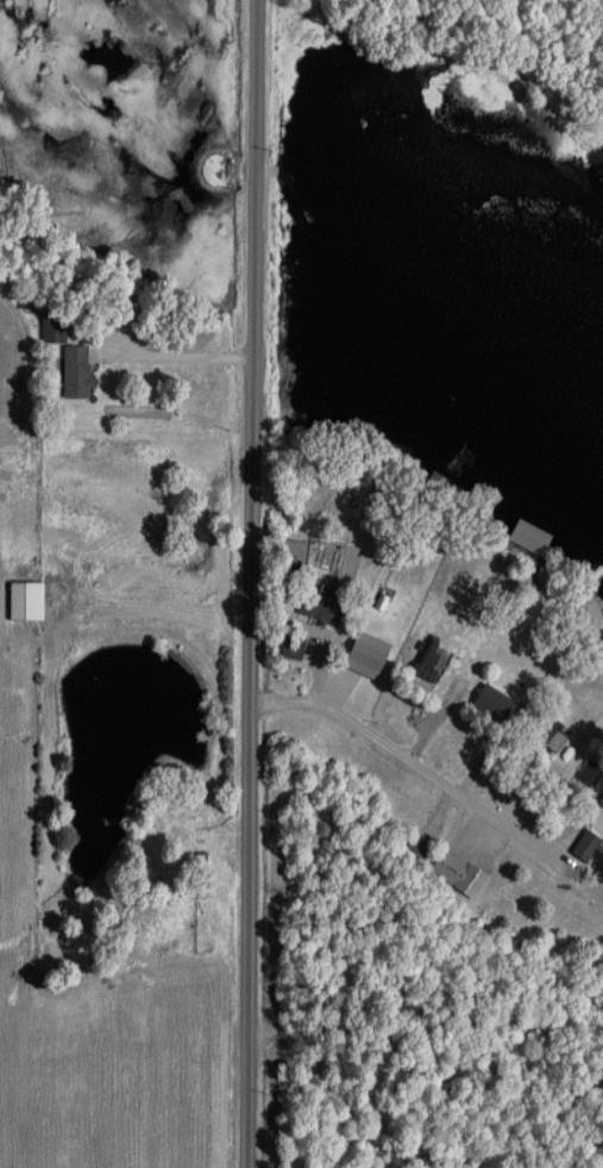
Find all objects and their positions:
road: (175, 362)
building: (73, 371)
road: (251, 584)
building: (21, 601)
building: (318, 605)
building: (359, 645)
building: (288, 646)
building: (490, 703)
road: (412, 756)
building: (589, 780)
building: (414, 846)
building: (582, 846)

